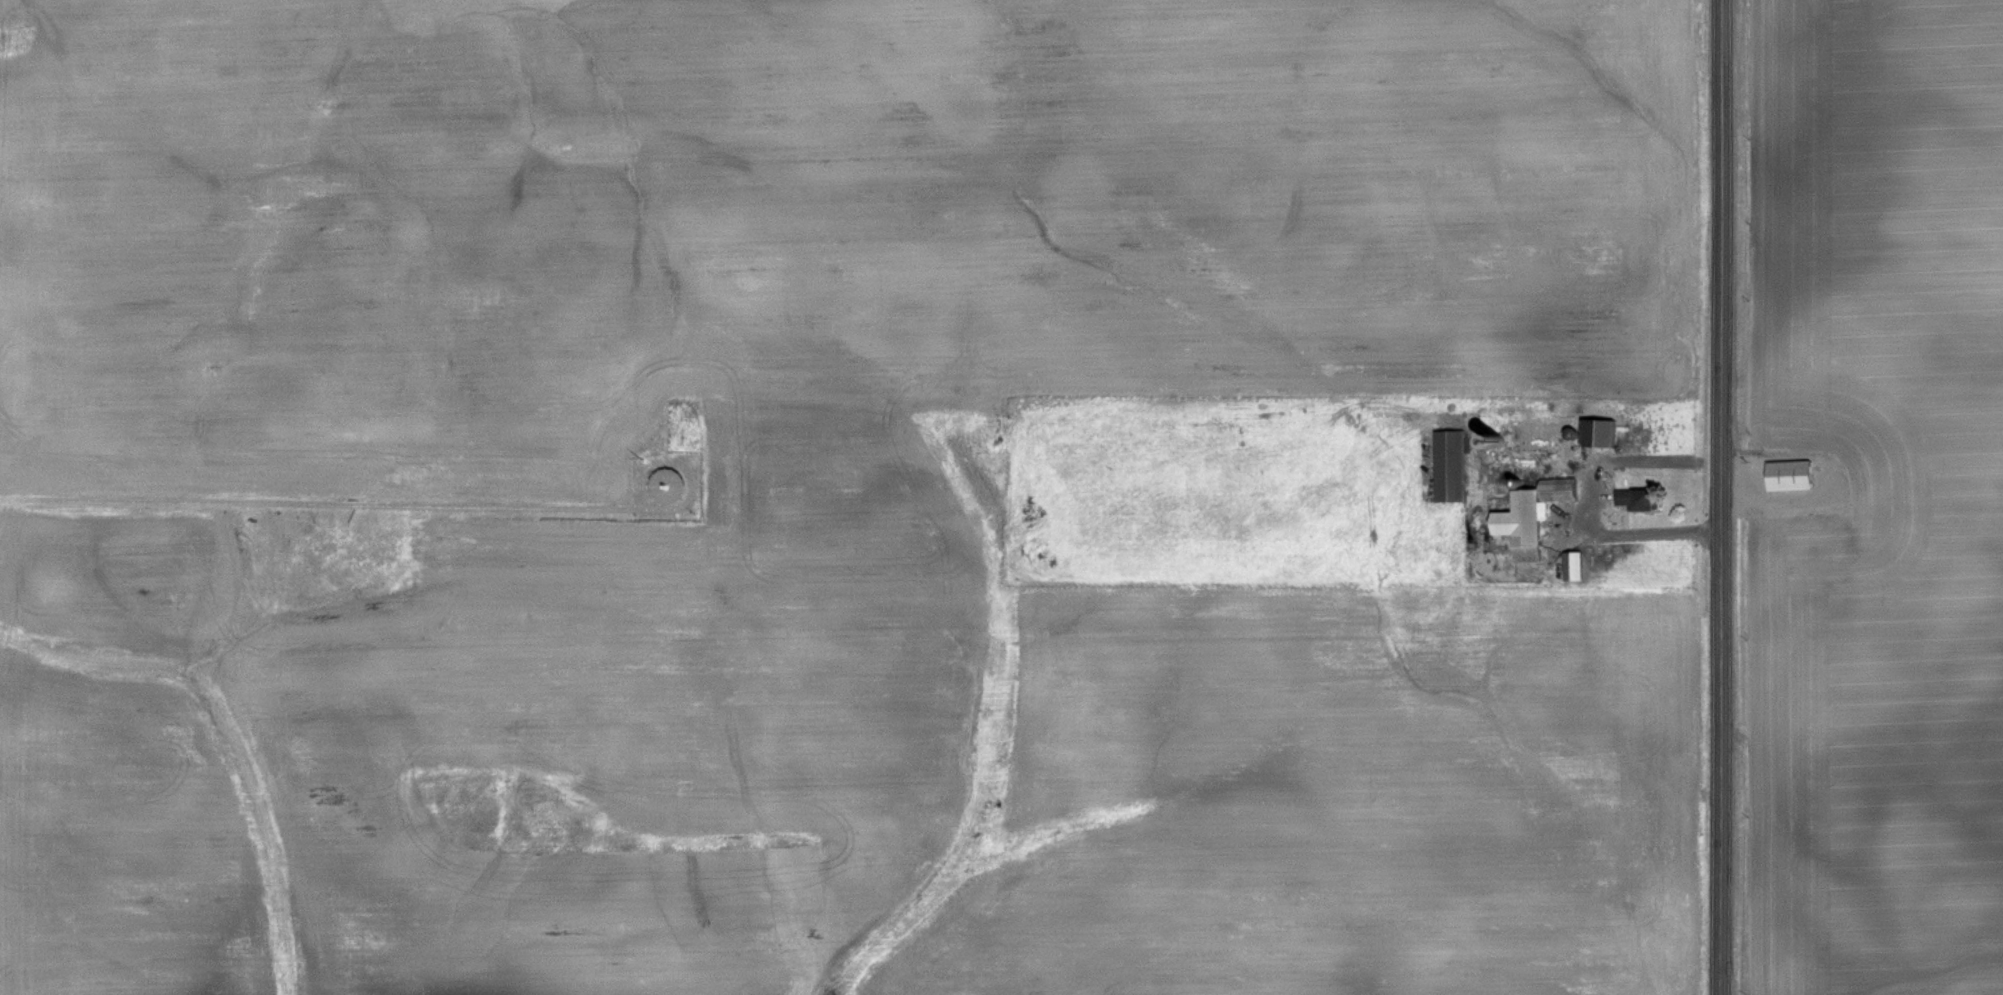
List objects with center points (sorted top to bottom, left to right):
building: (1594, 433)
building: (1448, 465)
building: (1785, 475)
building: (662, 484)
road: (1722, 497)
building: (1632, 499)
building: (1527, 515)
road: (1625, 529)
building: (1835, 529)

